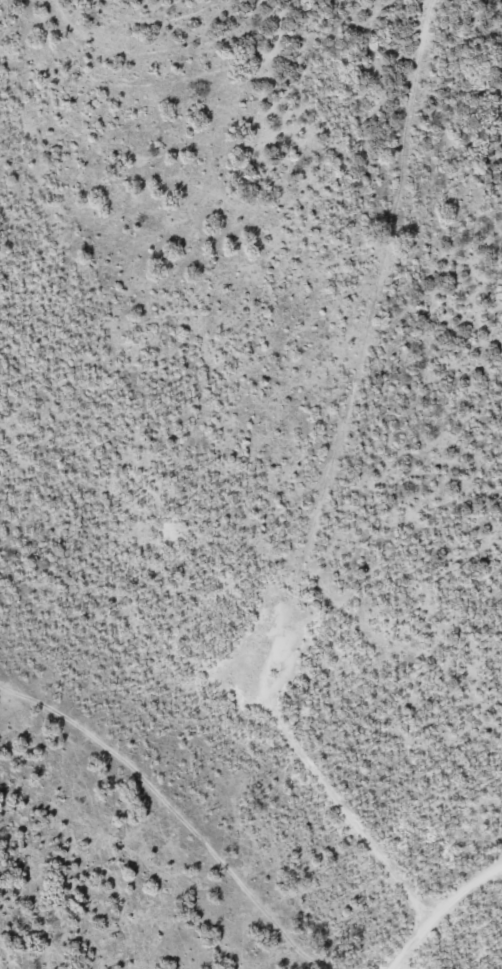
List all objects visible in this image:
road: (457, 921)

